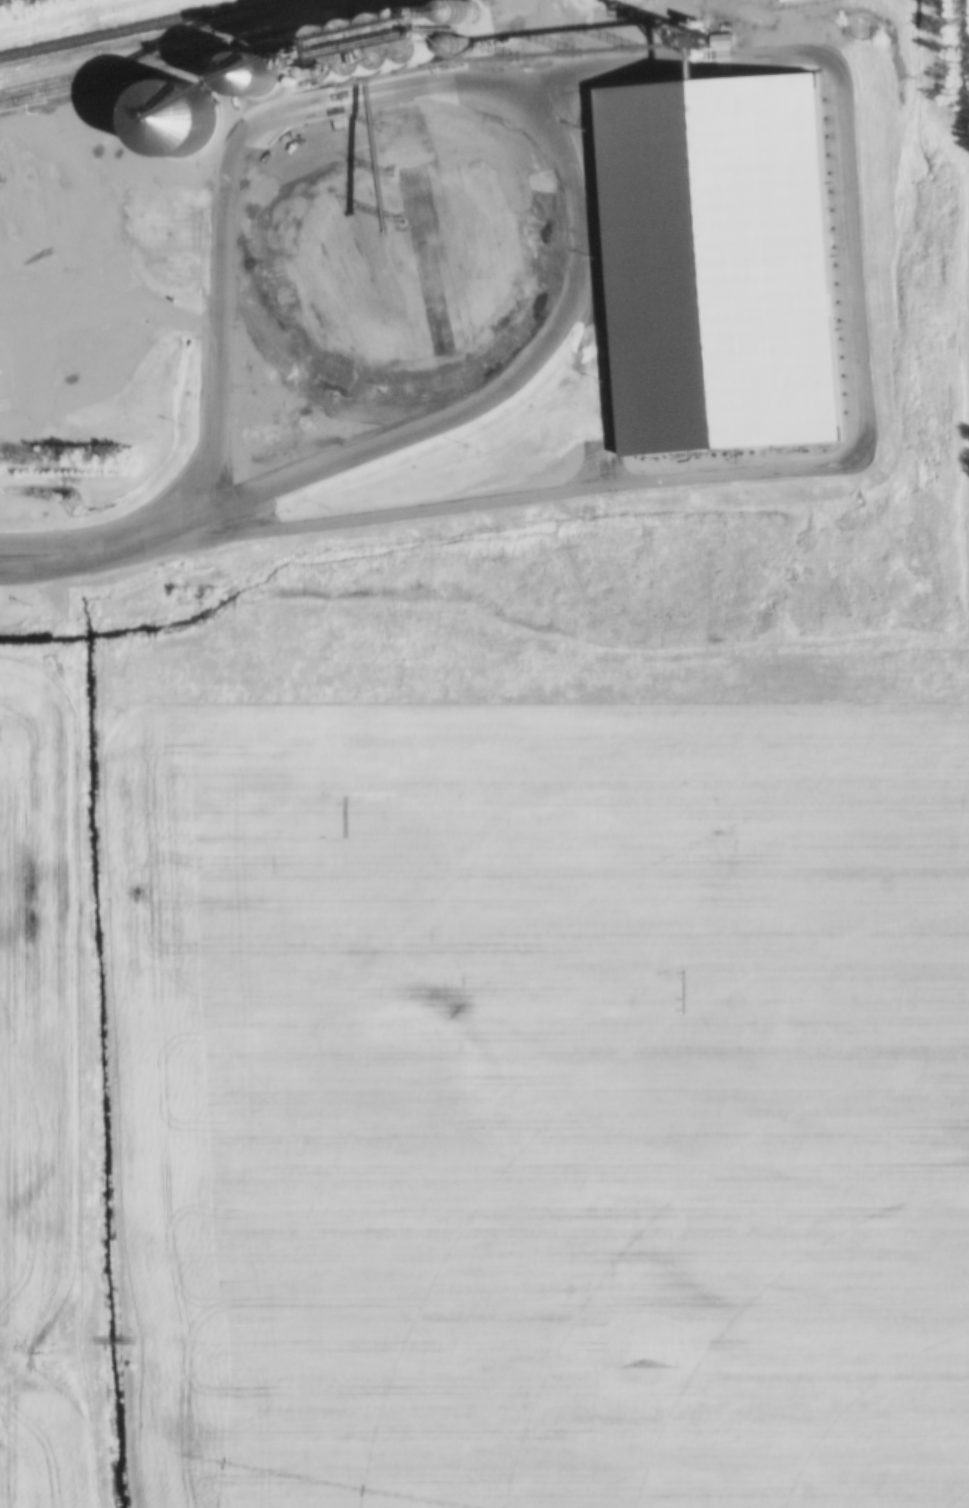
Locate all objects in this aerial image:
railway: (113, 25)
building: (394, 48)
building: (250, 76)
road: (531, 115)
building: (177, 119)
building: (720, 267)
road: (311, 388)
road: (857, 449)
road: (79, 549)
road: (83, 574)

